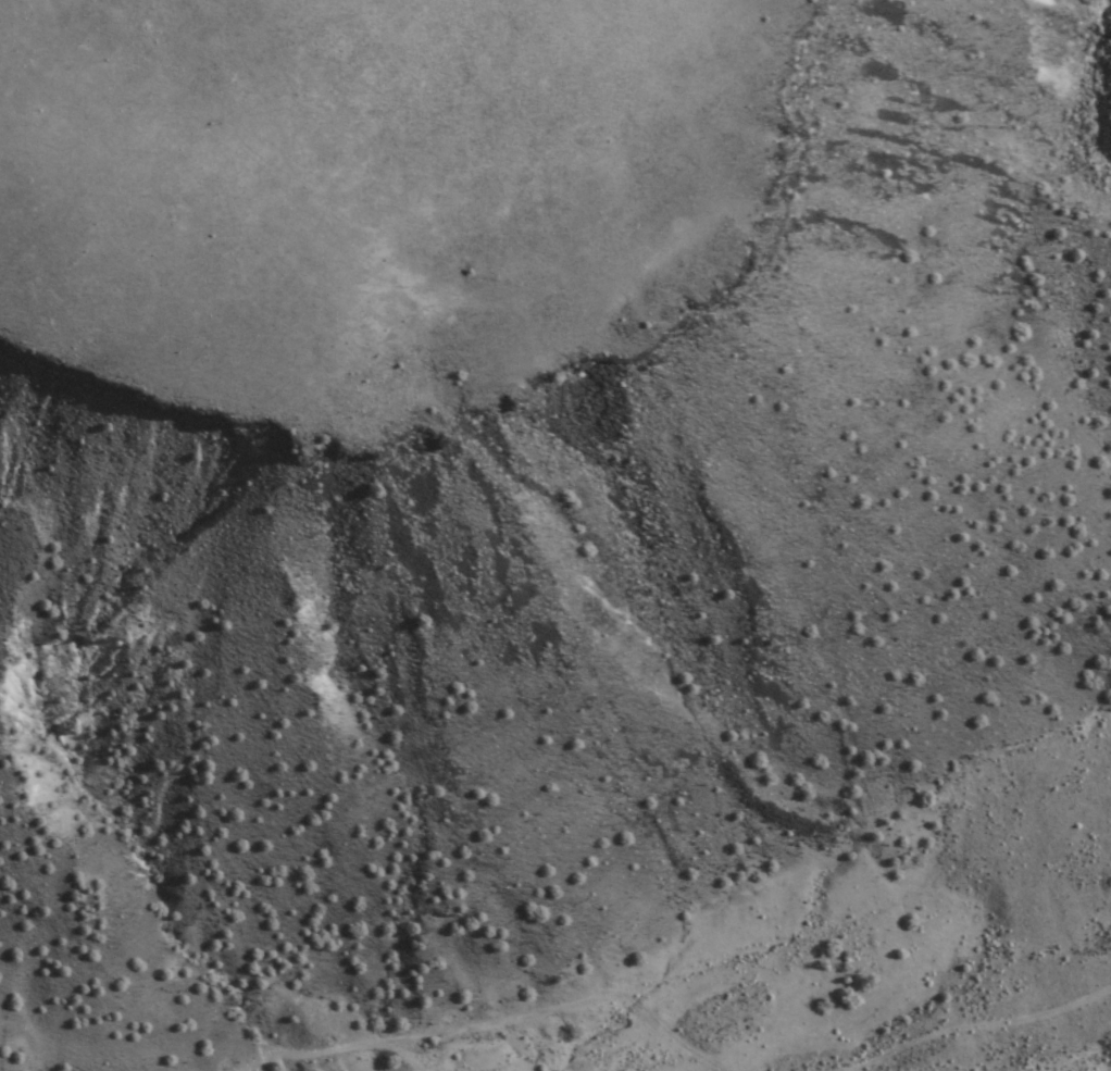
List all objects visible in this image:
road: (512, 1013)
road: (951, 1024)

